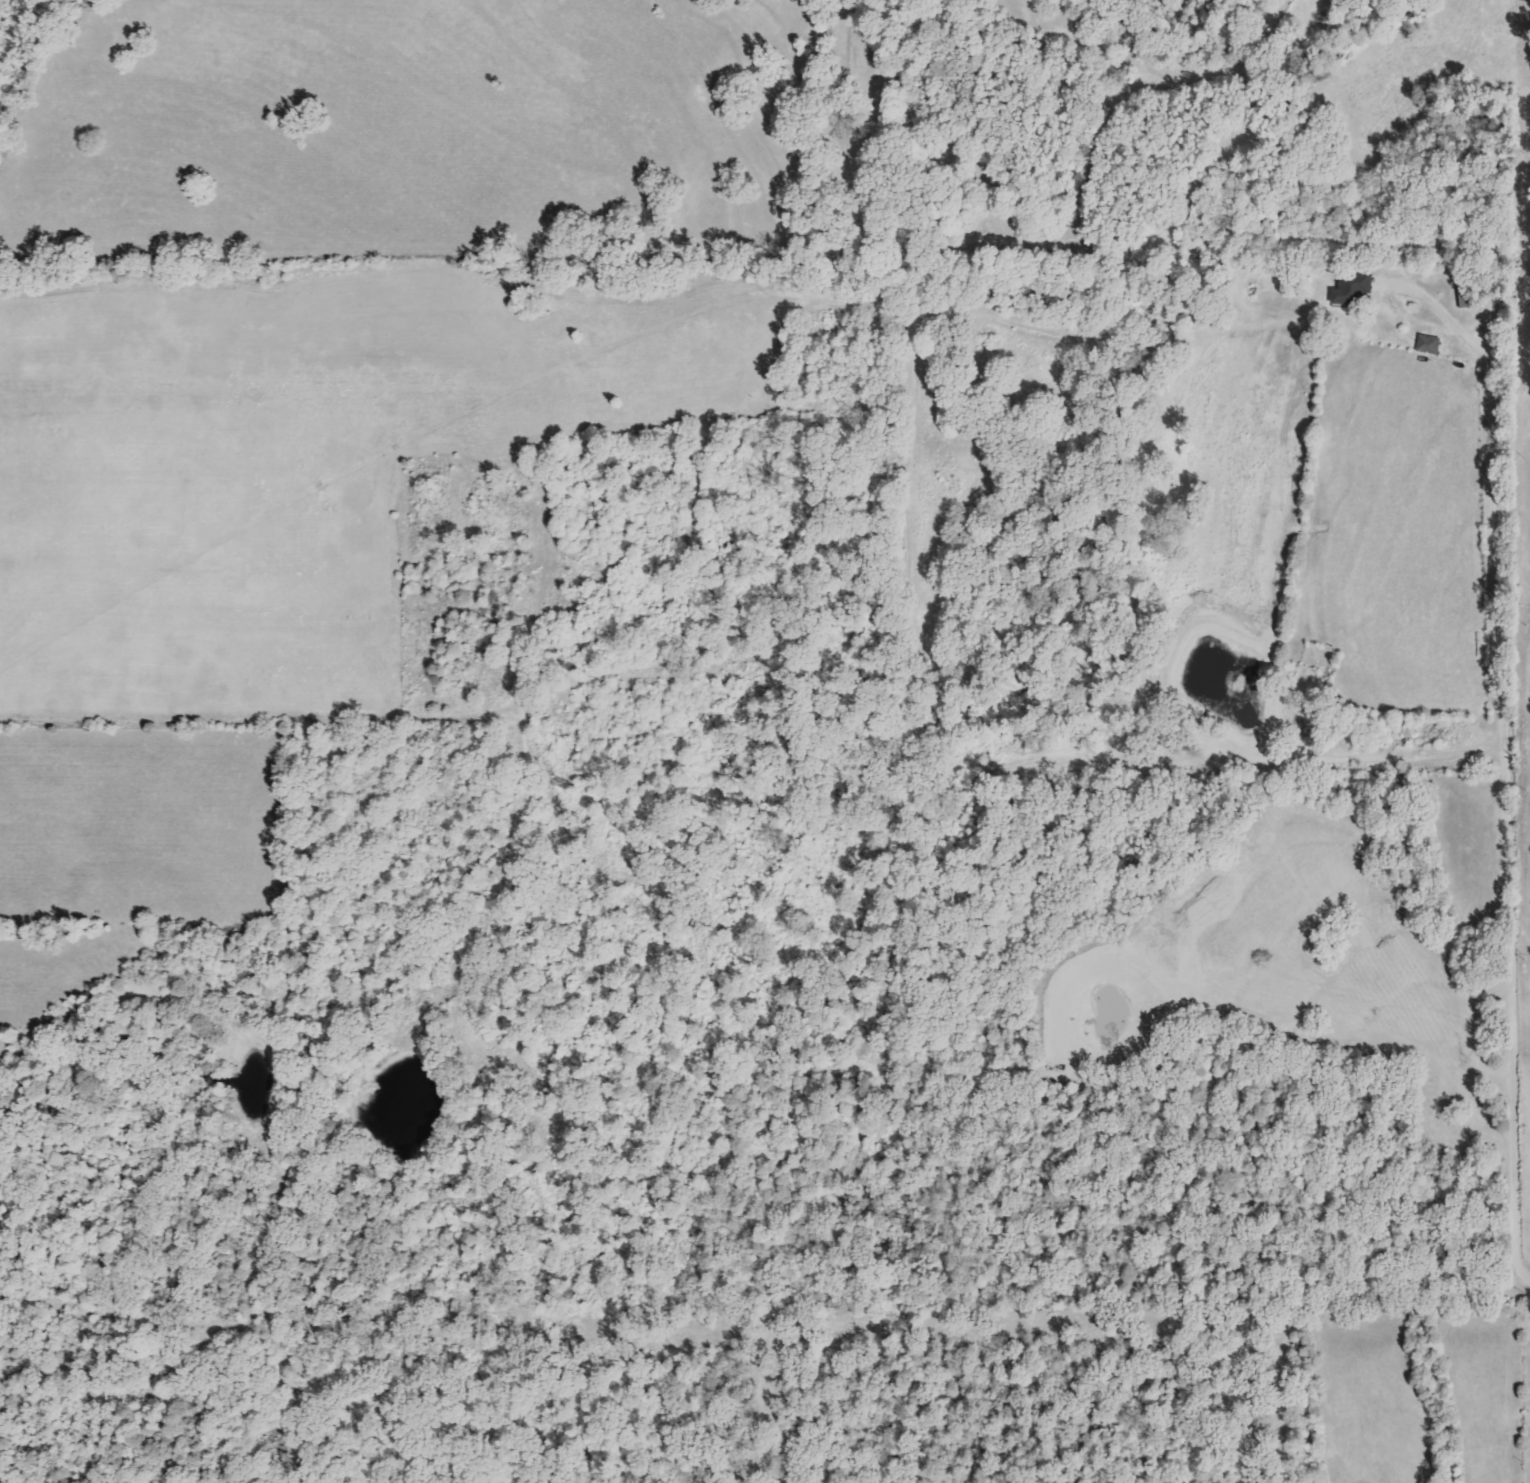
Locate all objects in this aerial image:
building: (1351, 287)
building: (1427, 344)
road: (1505, 687)

